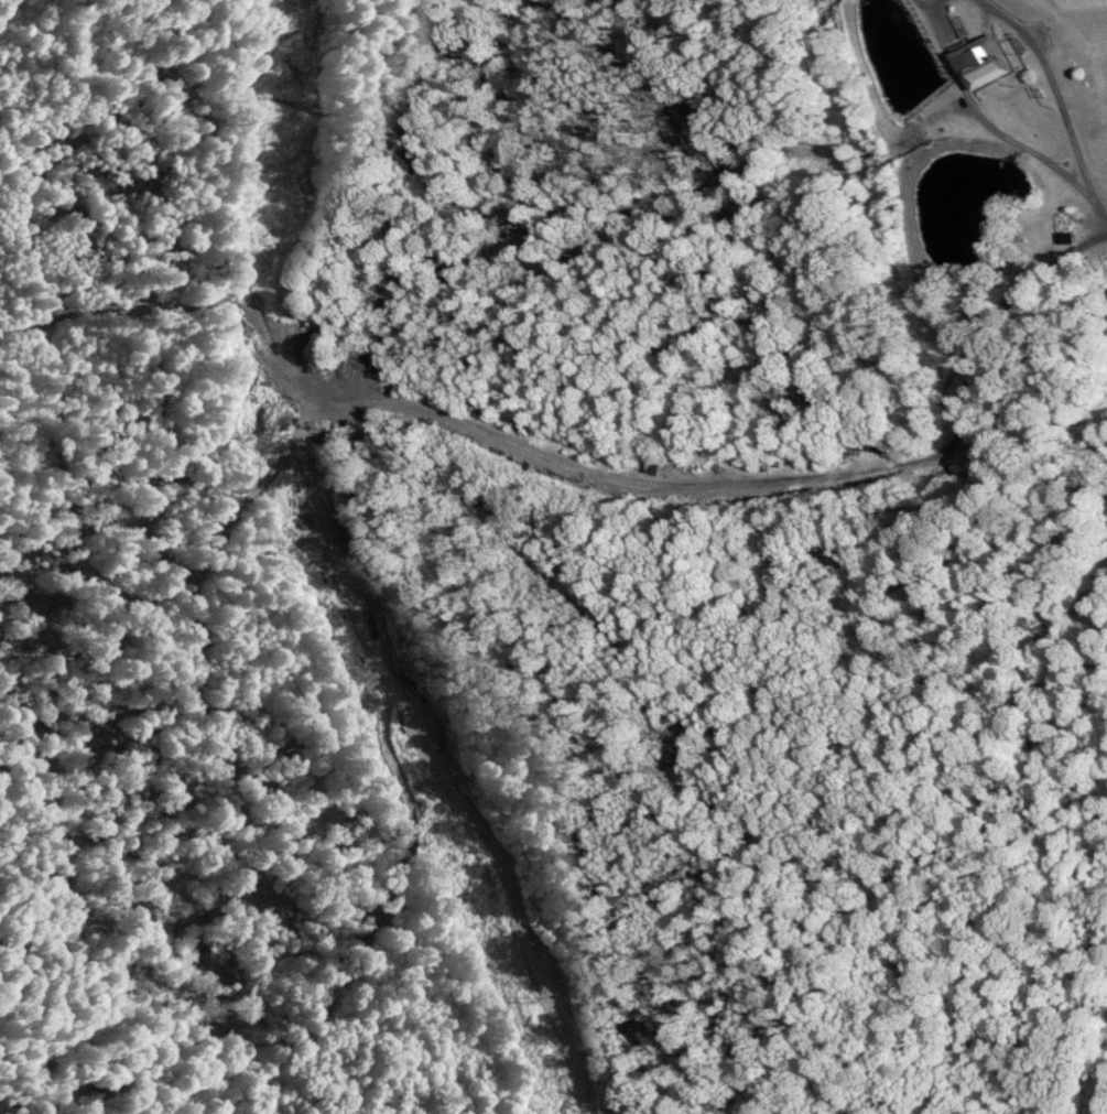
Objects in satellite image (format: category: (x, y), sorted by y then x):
building: (984, 57)
road: (1019, 239)

